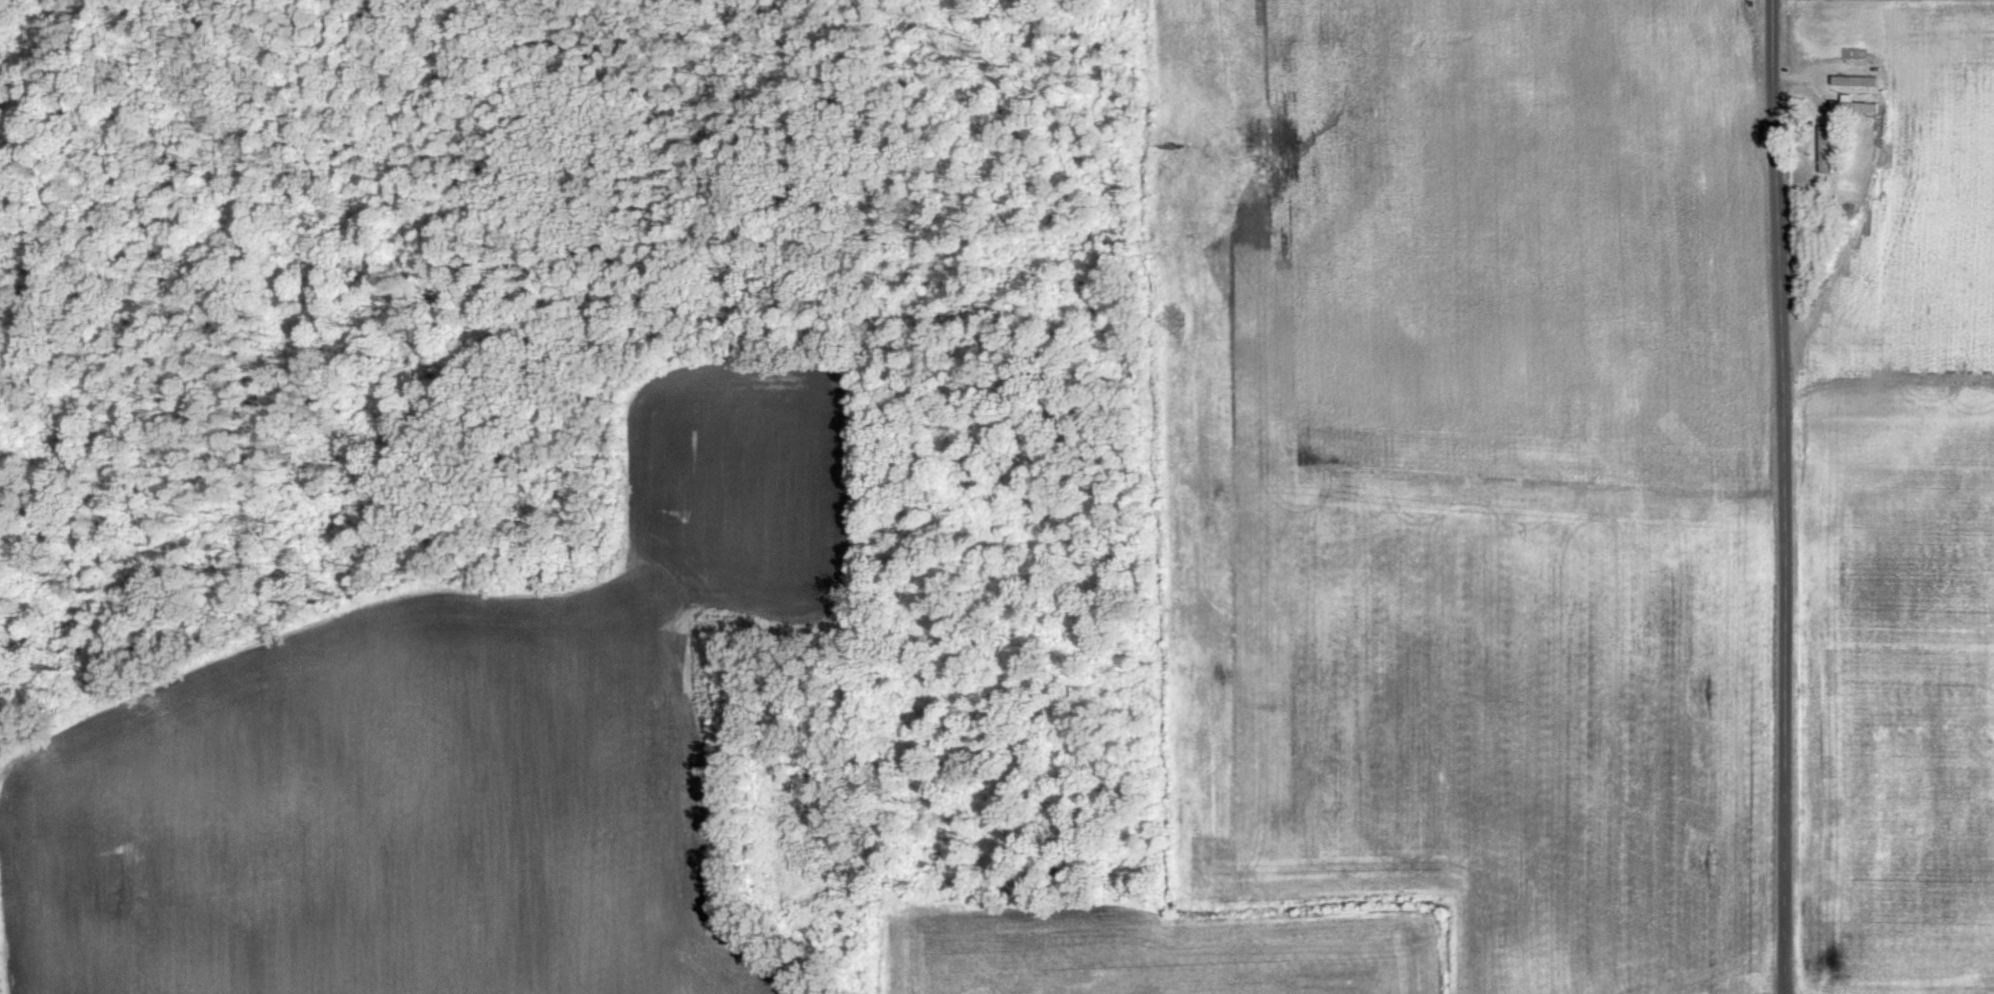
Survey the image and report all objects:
road: (1781, 497)

